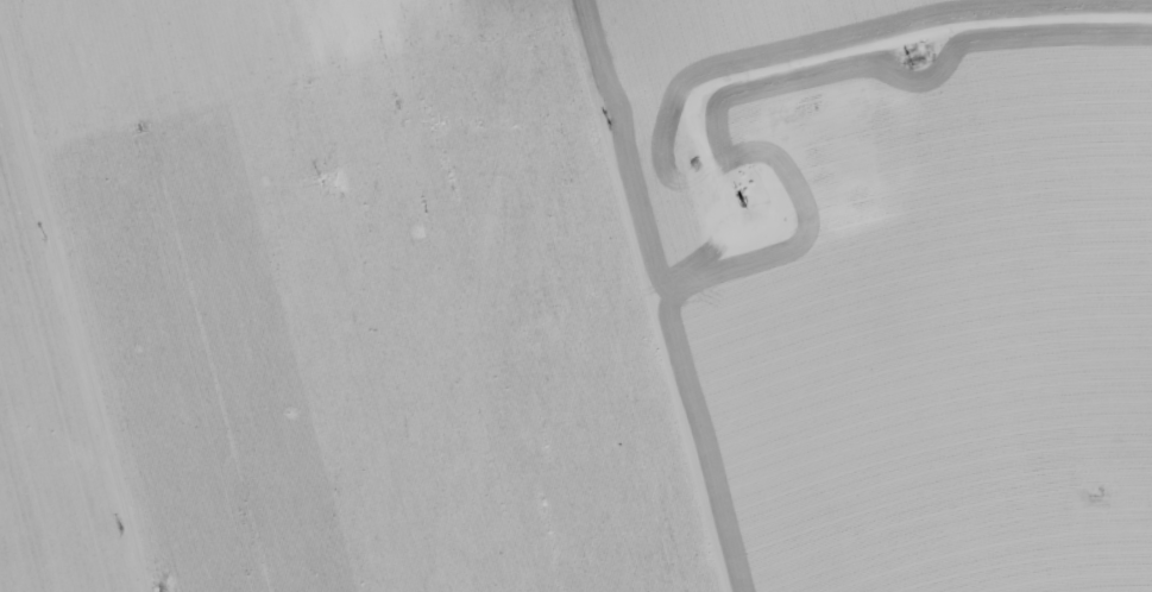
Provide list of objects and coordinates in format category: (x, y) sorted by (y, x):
road: (665, 50)
road: (560, 62)

